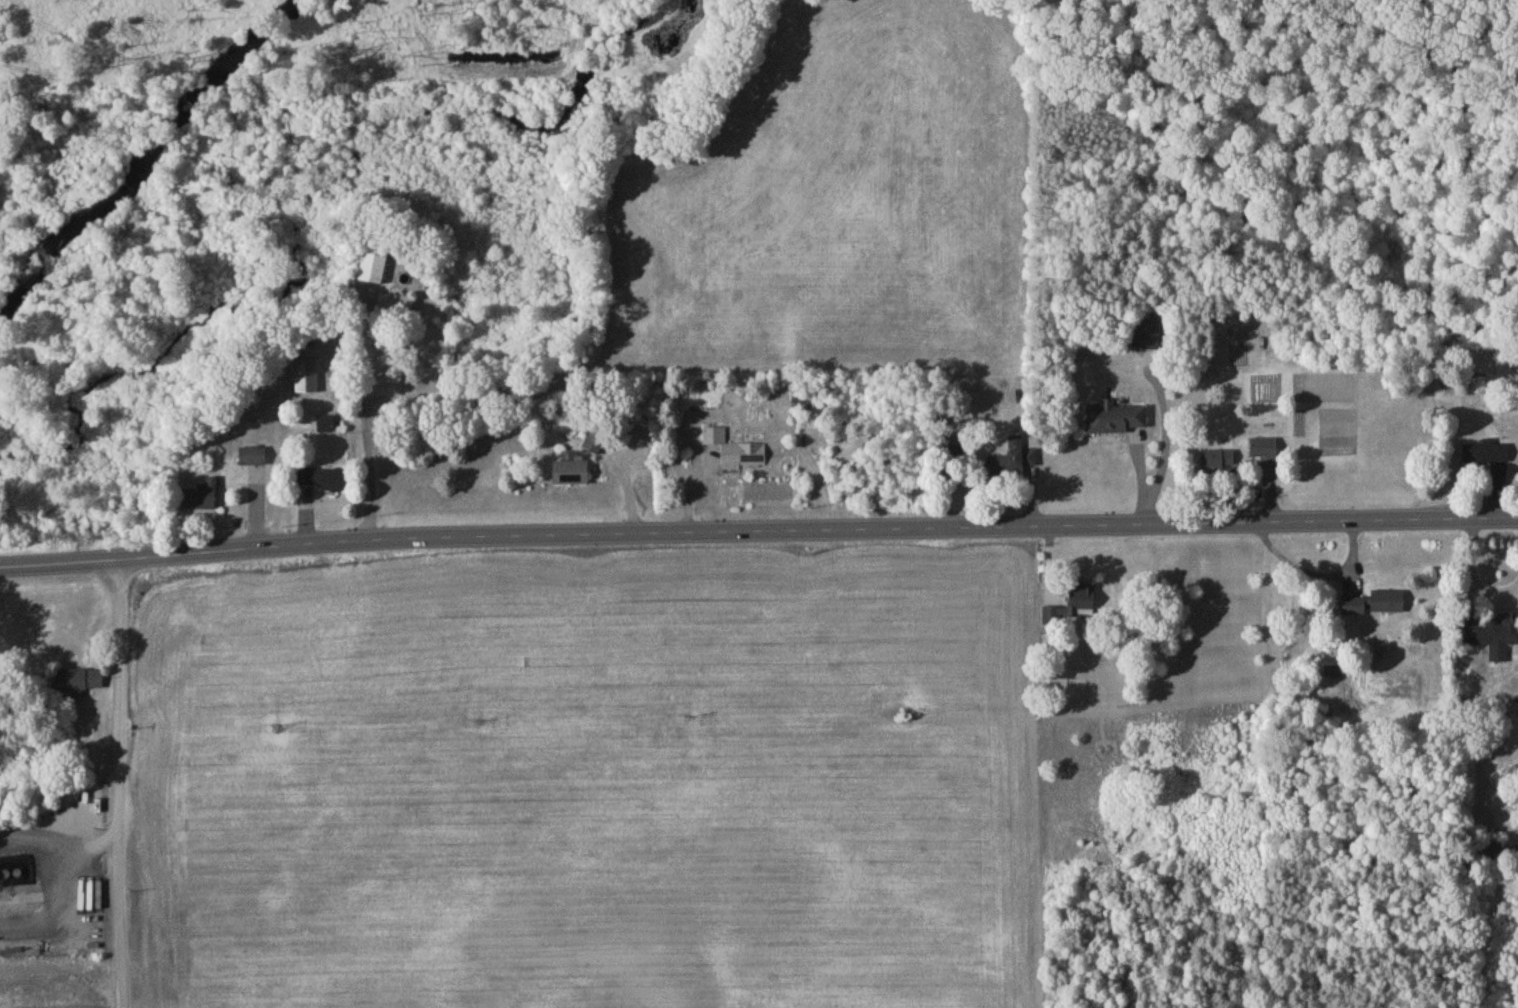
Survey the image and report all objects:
building: (376, 264)
building: (397, 309)
building: (1146, 338)
building: (307, 374)
building: (801, 406)
building: (1117, 421)
road: (367, 422)
building: (326, 427)
building: (597, 442)
building: (1264, 451)
building: (735, 455)
building: (1488, 456)
building: (253, 459)
building: (1218, 463)
building: (1014, 464)
building: (572, 475)
building: (325, 482)
building: (202, 499)
road: (758, 531)
road: (1317, 573)
road: (1472, 574)
building: (1086, 599)
building: (1389, 604)
building: (1356, 608)
building: (1490, 632)
building: (78, 684)
building: (1467, 700)
road: (117, 784)
building: (1491, 854)

